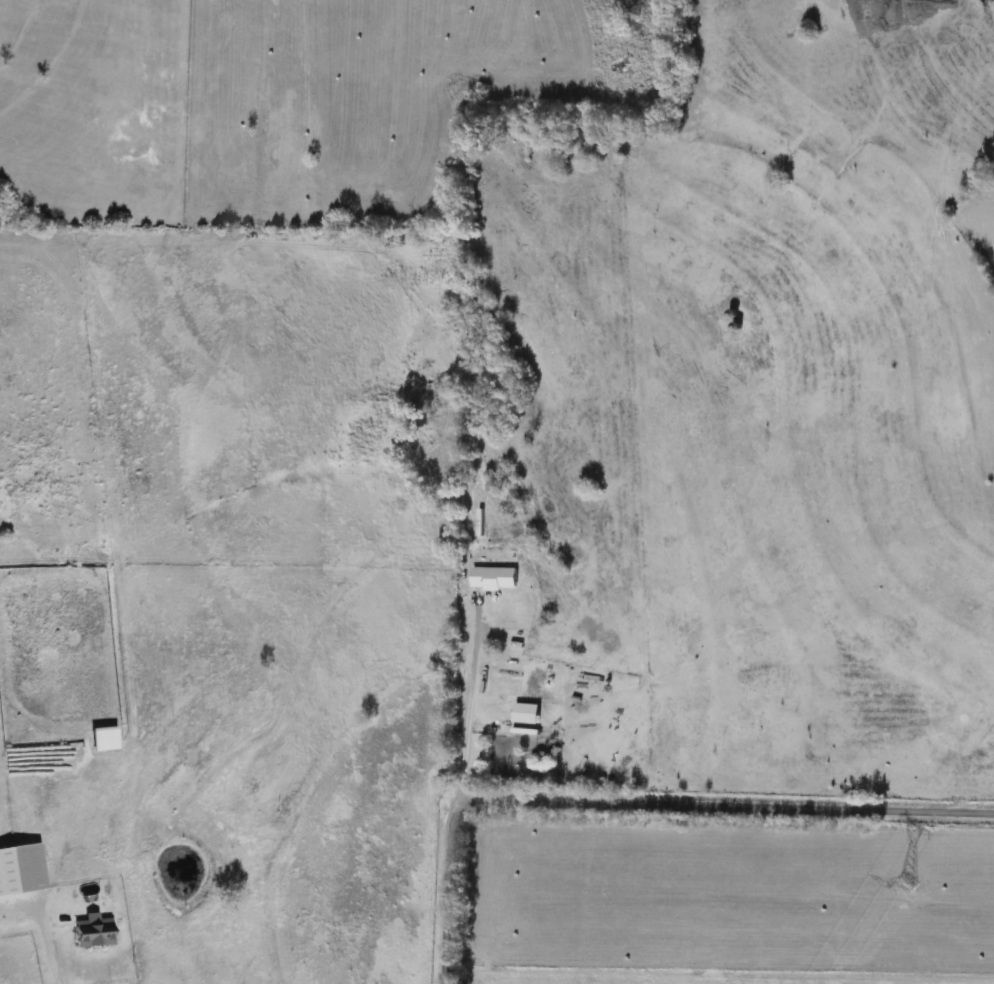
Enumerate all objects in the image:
building: (495, 579)
road: (471, 708)
road: (636, 804)
building: (21, 870)
power tower: (907, 883)
building: (93, 933)
road: (52, 965)

